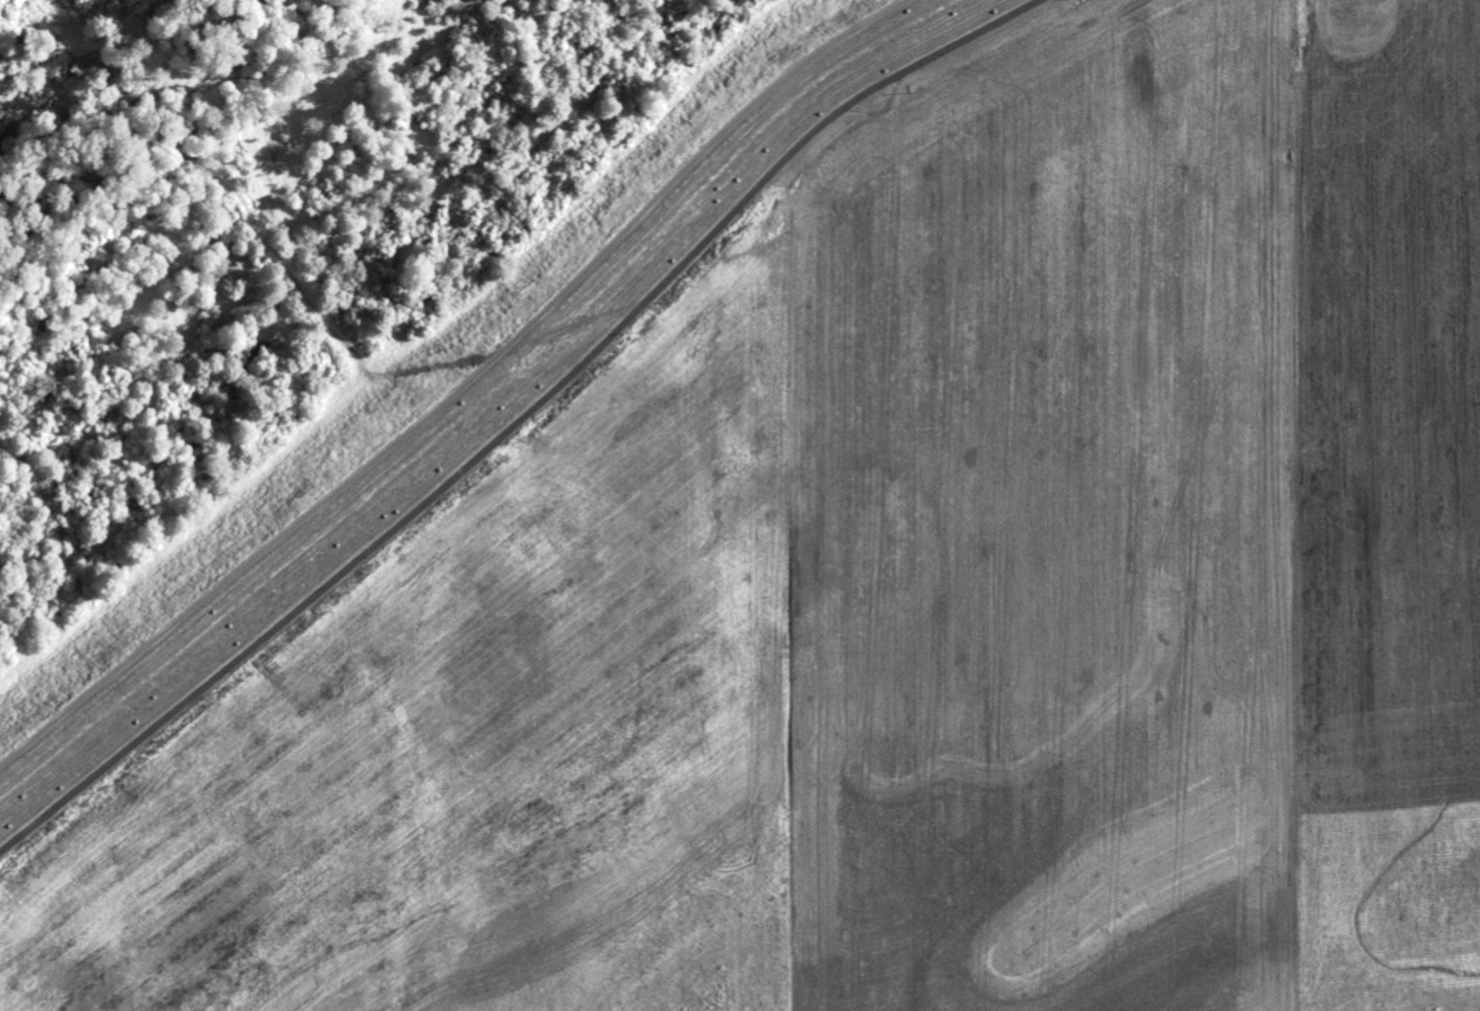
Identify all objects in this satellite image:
road: (463, 386)
road: (518, 421)

